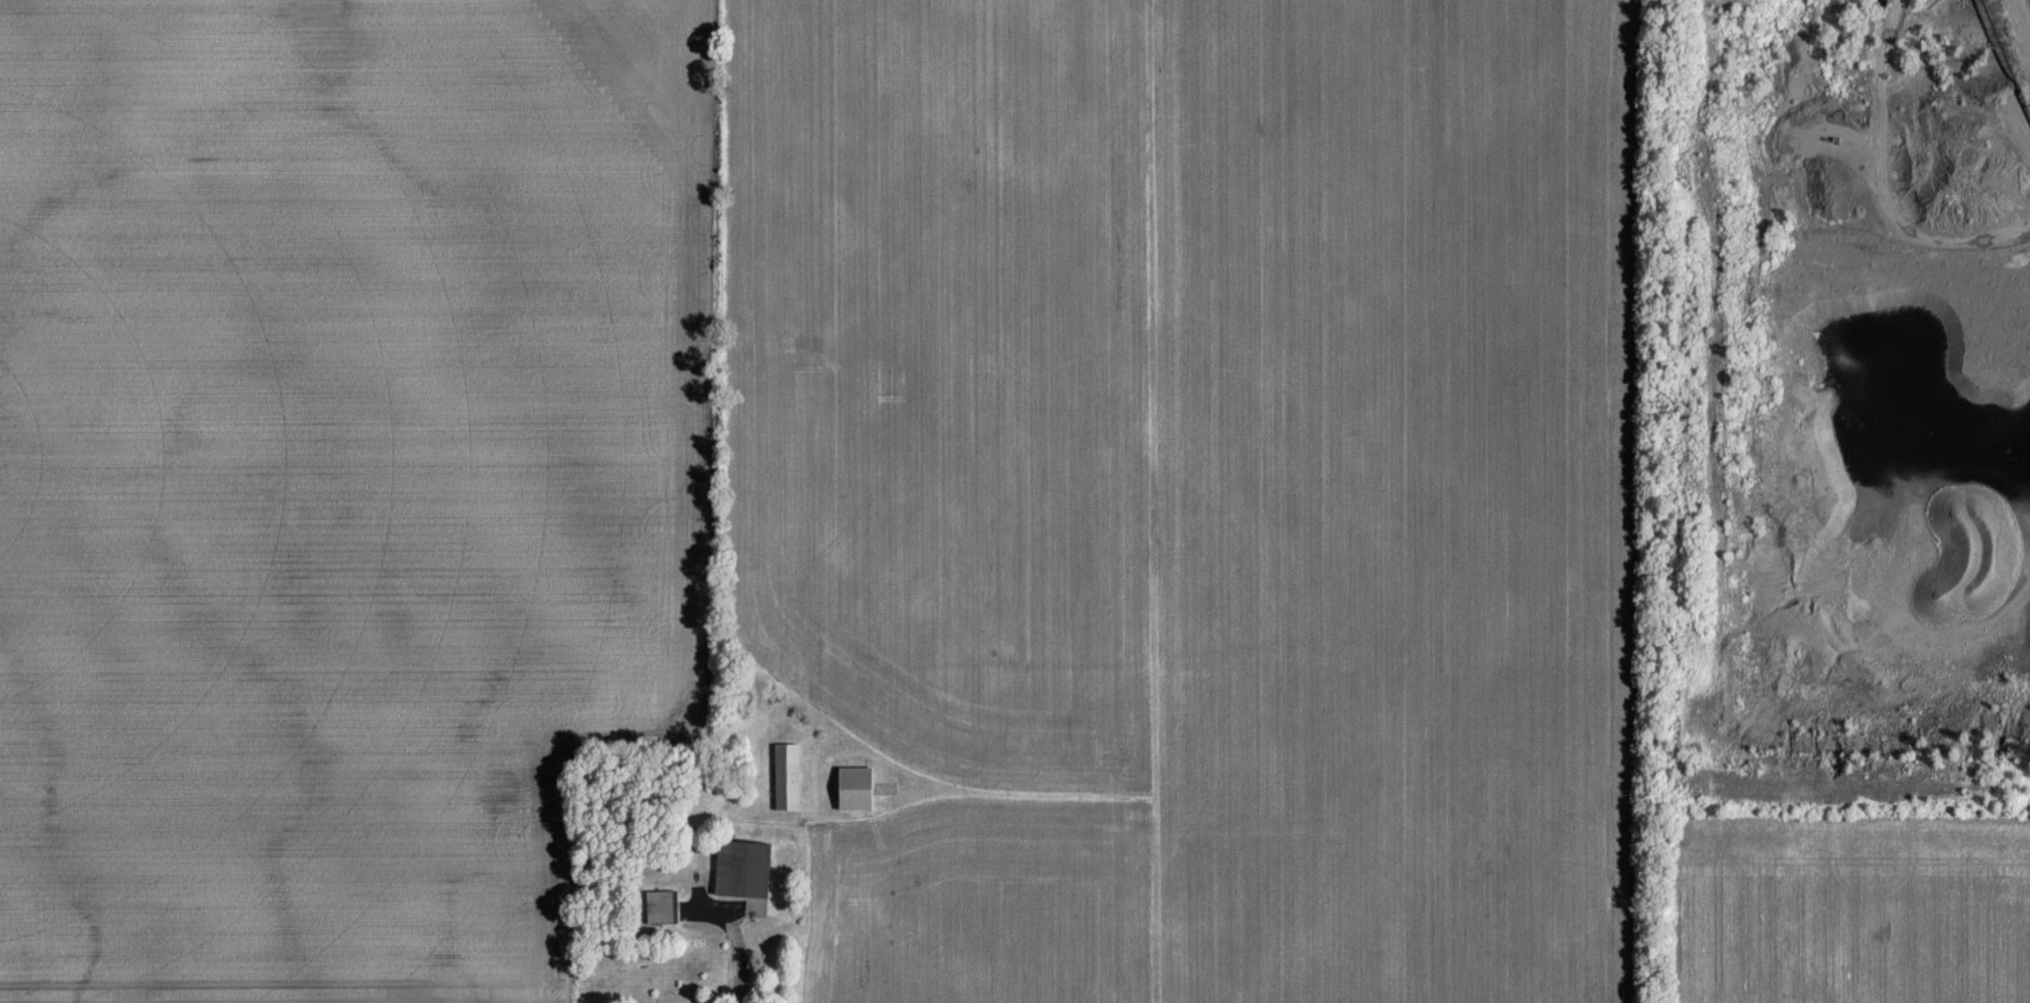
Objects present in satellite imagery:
quarry: (1840, 402)
building: (1822, 500)
building: (787, 776)
building: (856, 788)
building: (744, 869)
building: (661, 907)
road: (739, 957)

